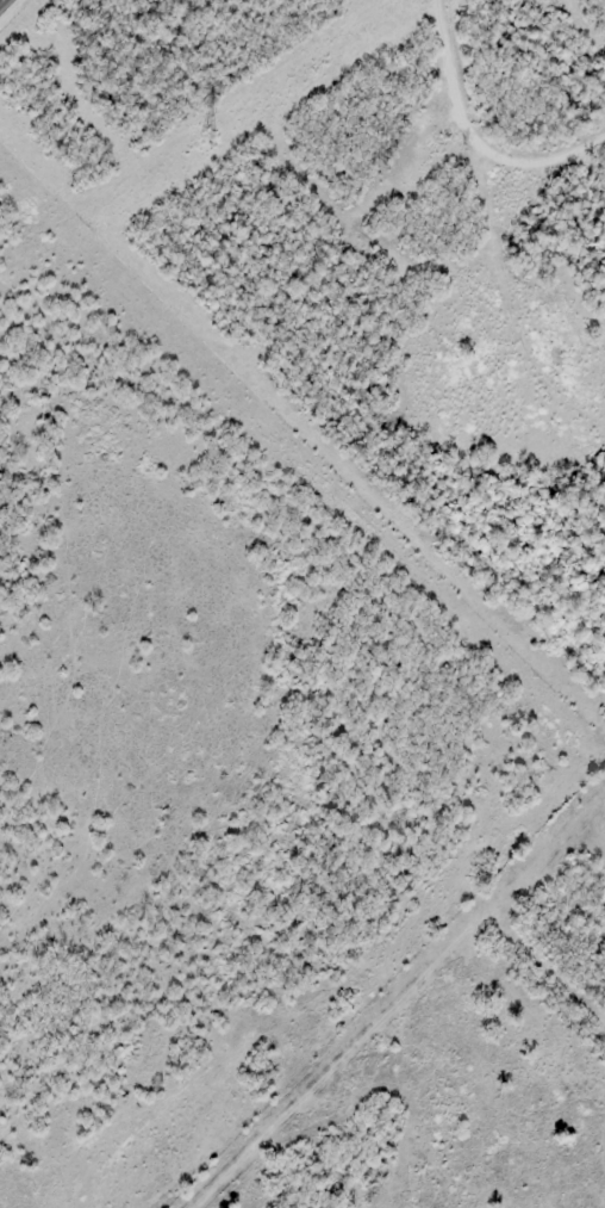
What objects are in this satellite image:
road: (4, 4)
road: (472, 137)
power tower: (205, 138)

